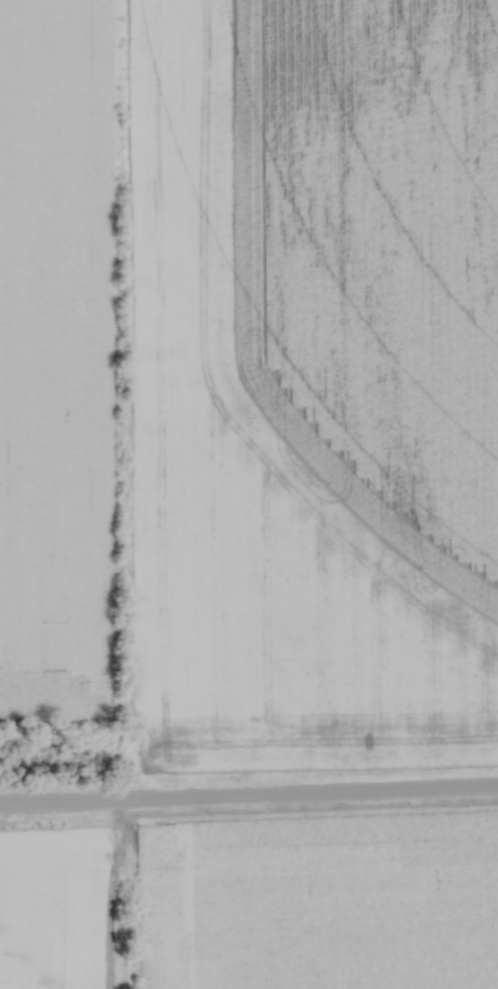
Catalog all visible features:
road: (248, 798)

